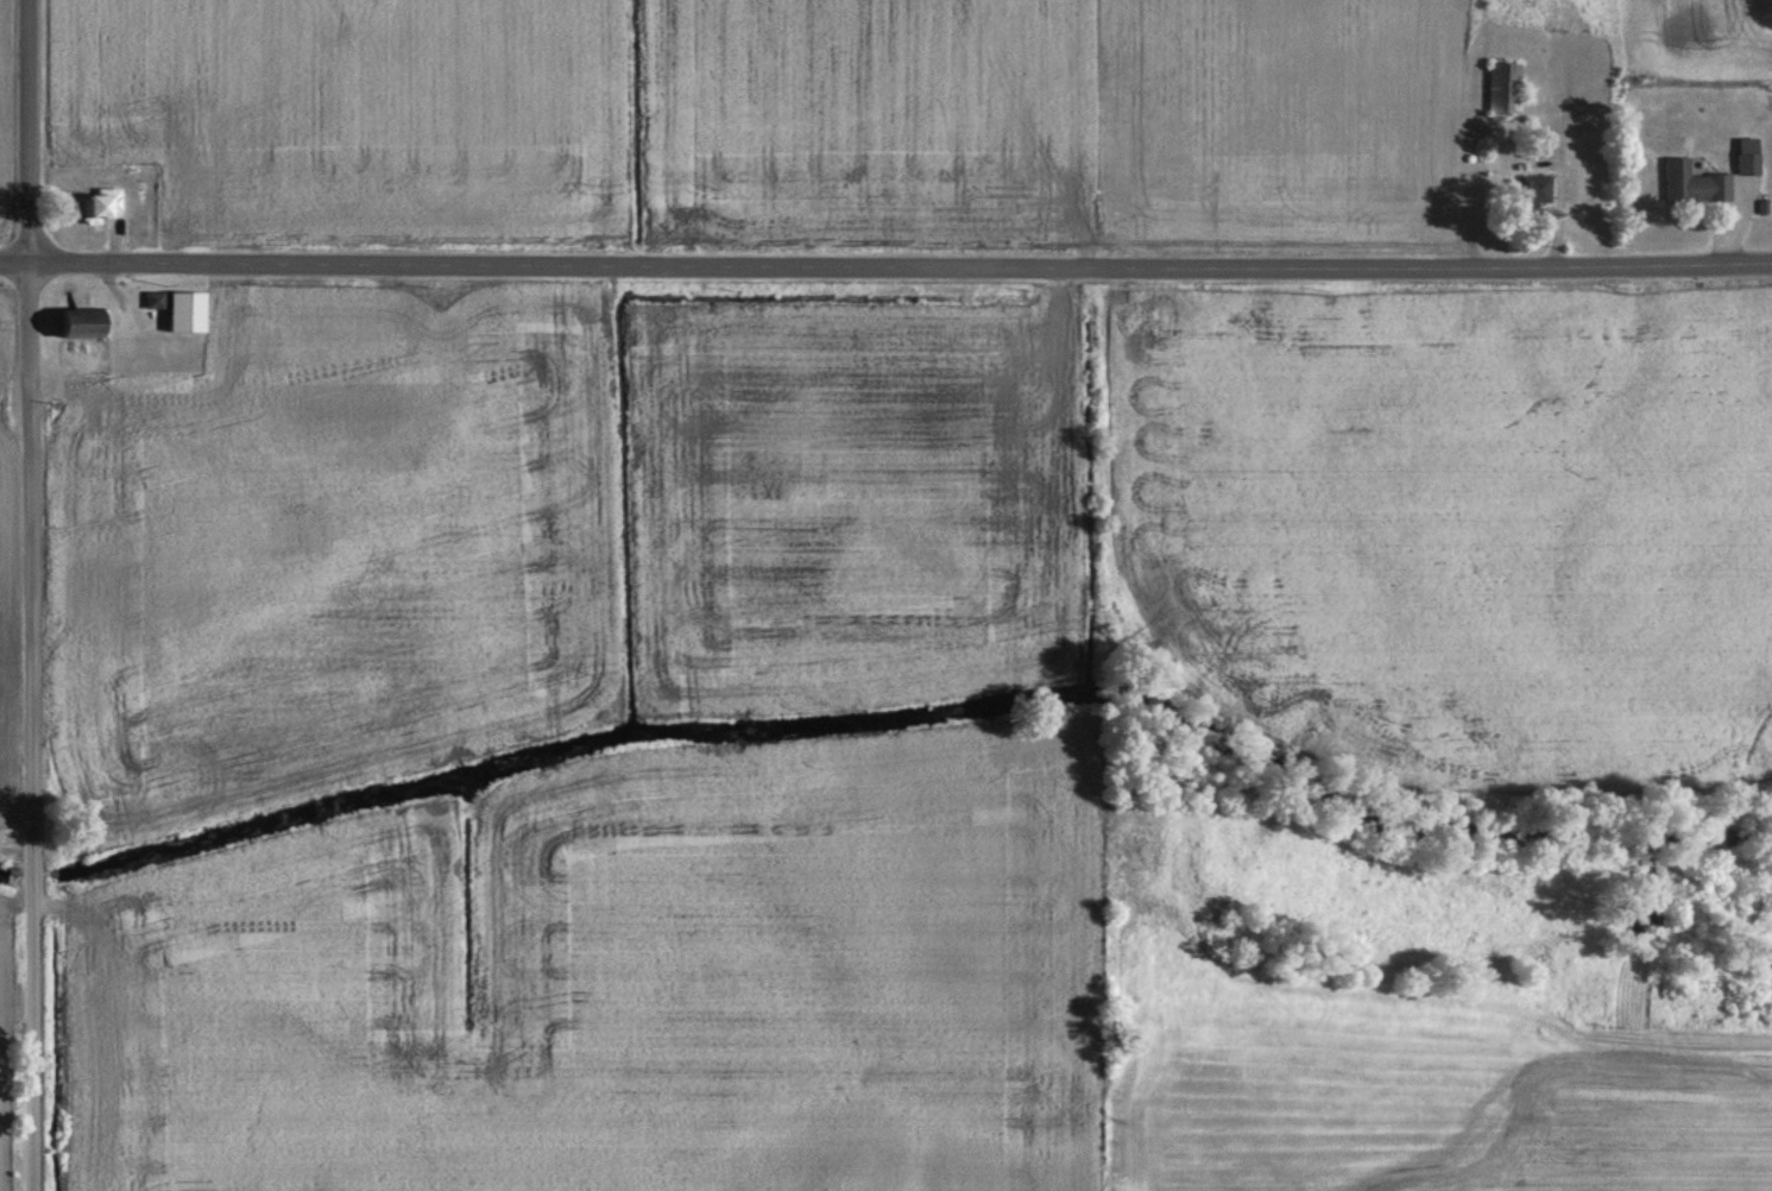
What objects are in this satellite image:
building: (1502, 89)
building: (1585, 108)
building: (1747, 165)
building: (1692, 185)
building: (1528, 191)
building: (97, 207)
road: (885, 266)
building: (177, 311)
building: (80, 327)
road: (34, 594)

